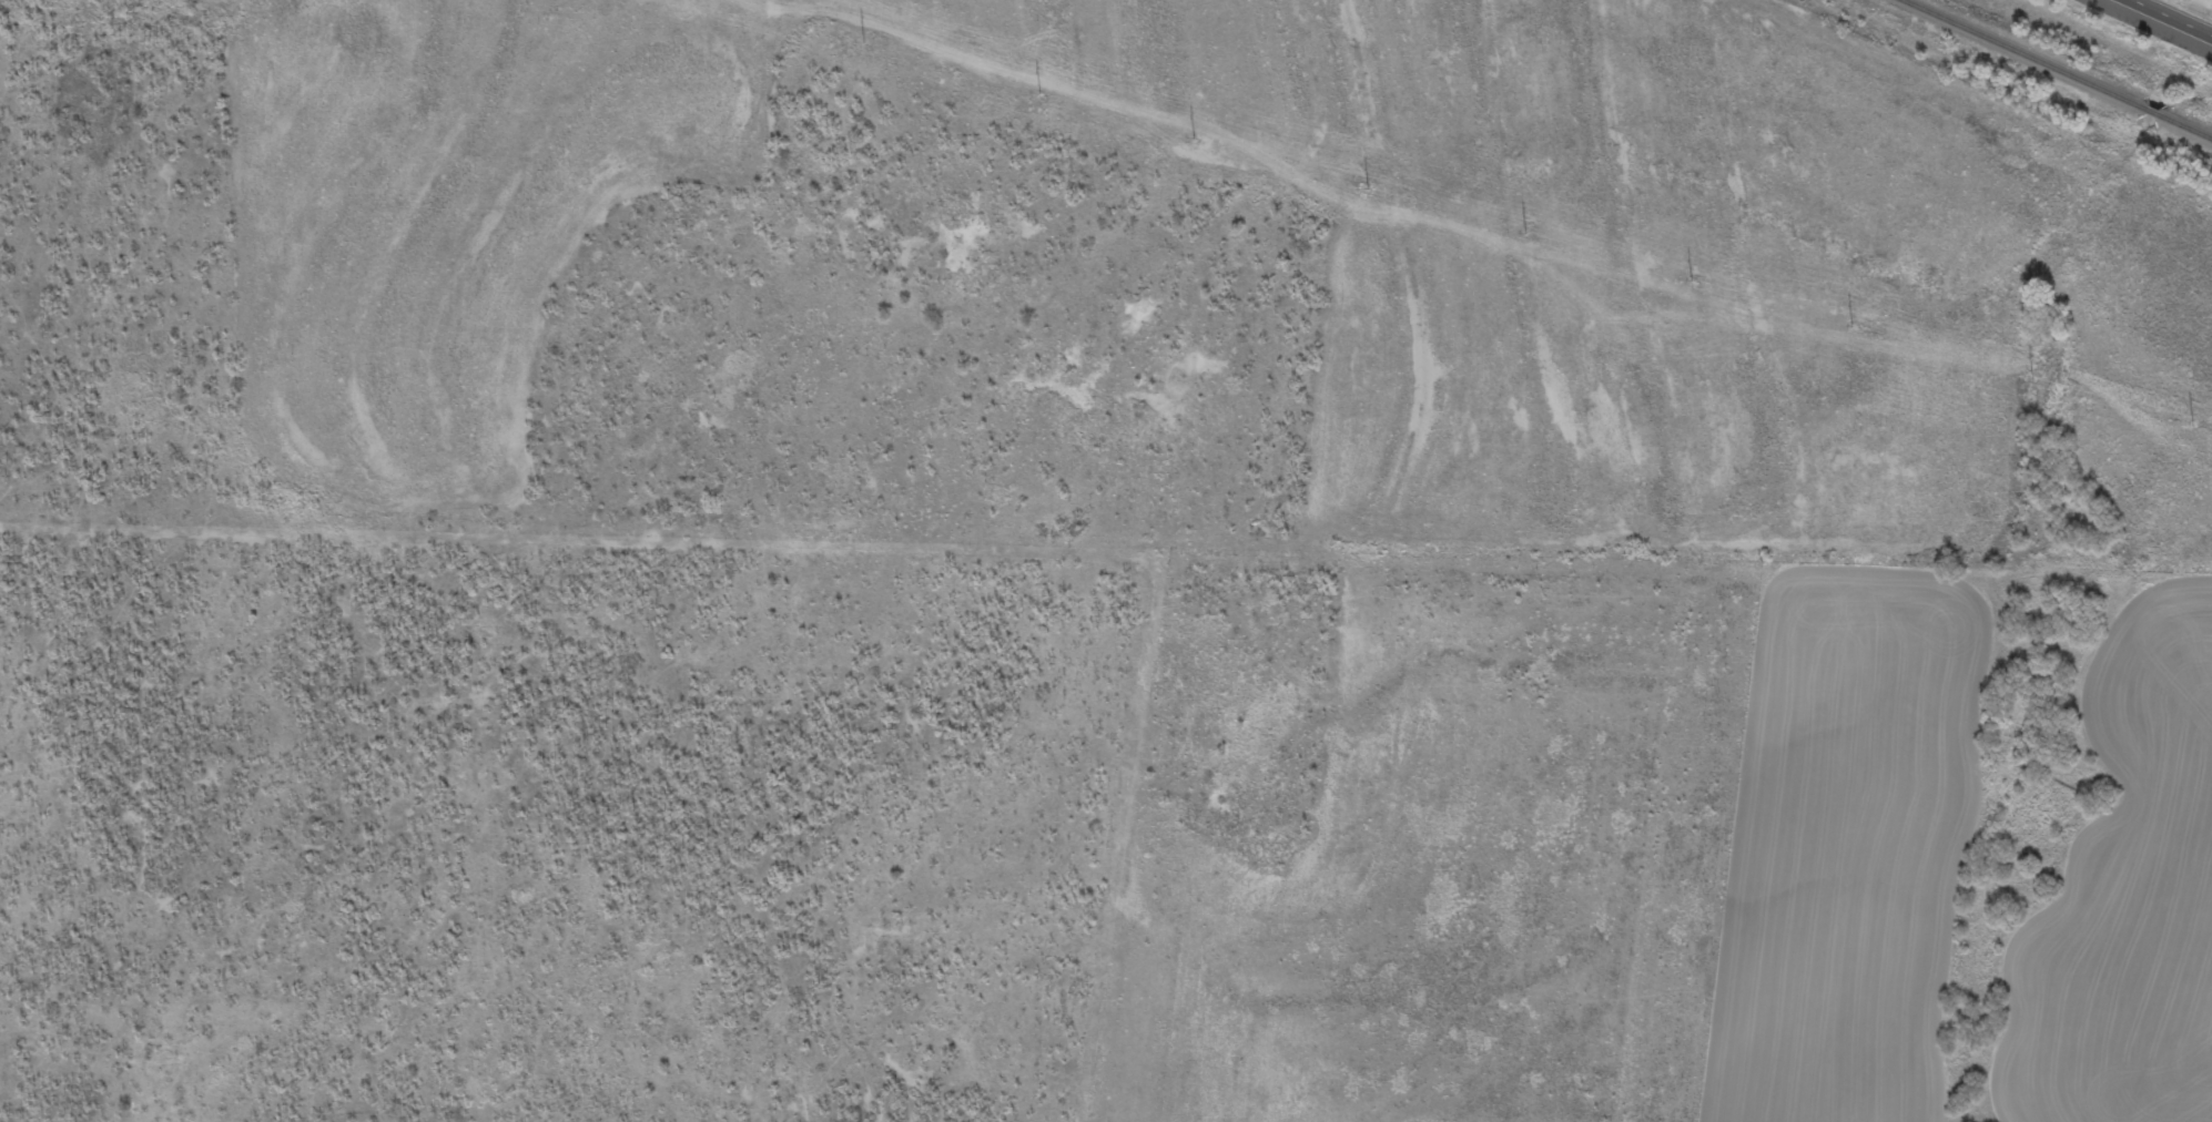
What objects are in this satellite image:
road: (2164, 20)
railway: (2056, 70)

